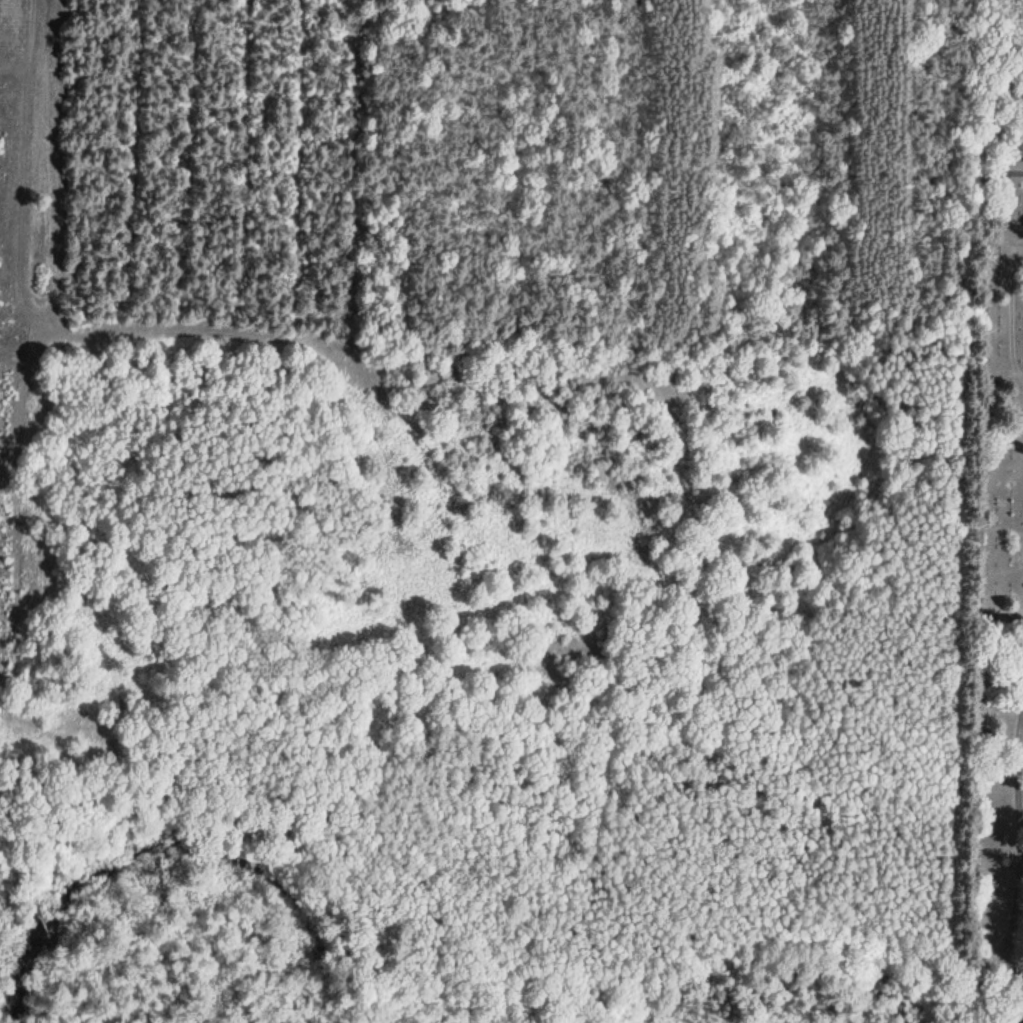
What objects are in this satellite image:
road: (1013, 174)
park: (993, 583)
road: (1022, 780)

